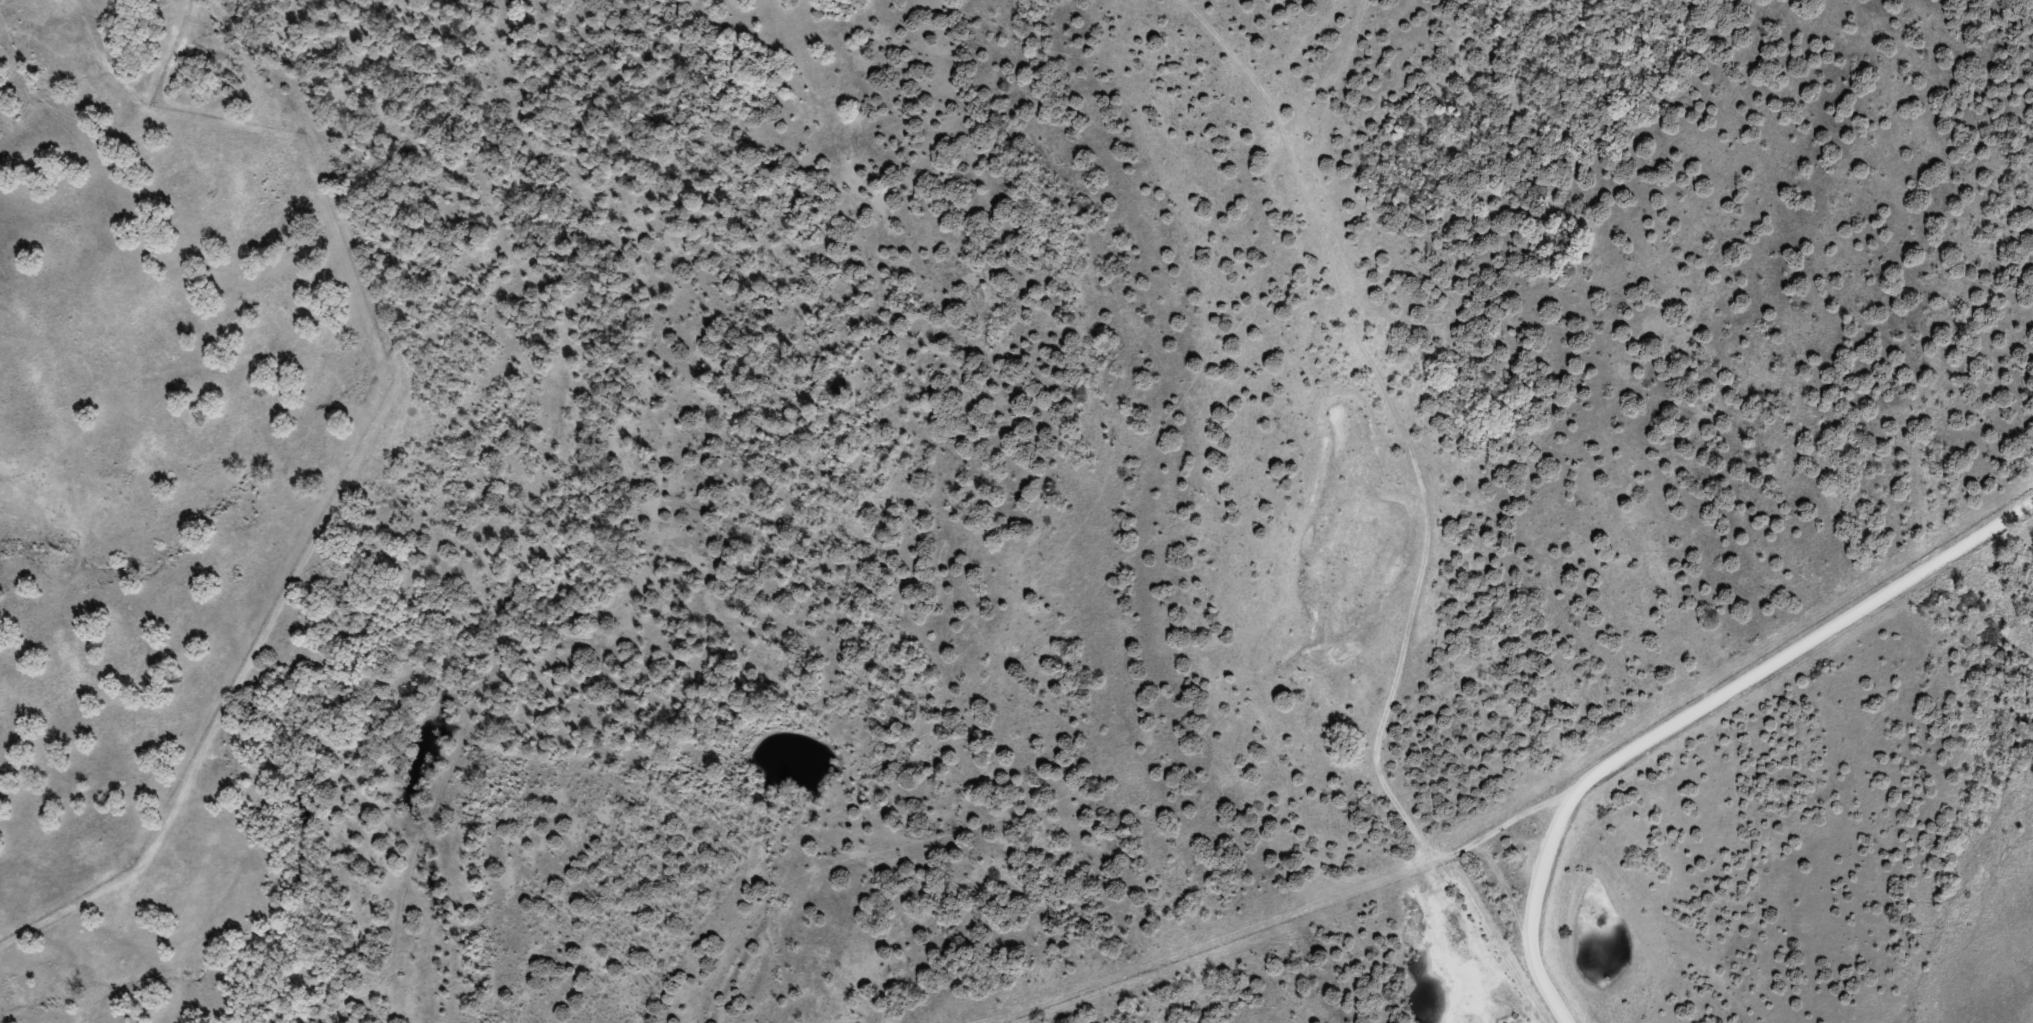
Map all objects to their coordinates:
road: (1702, 712)

